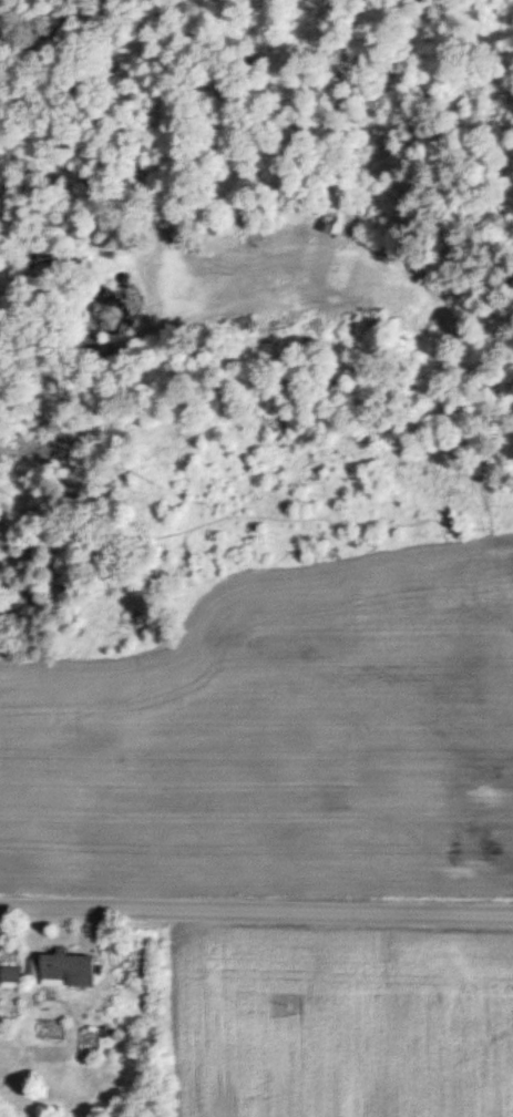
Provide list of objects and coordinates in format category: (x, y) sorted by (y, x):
building: (331, 218)
road: (256, 913)
building: (66, 969)
building: (10, 975)

